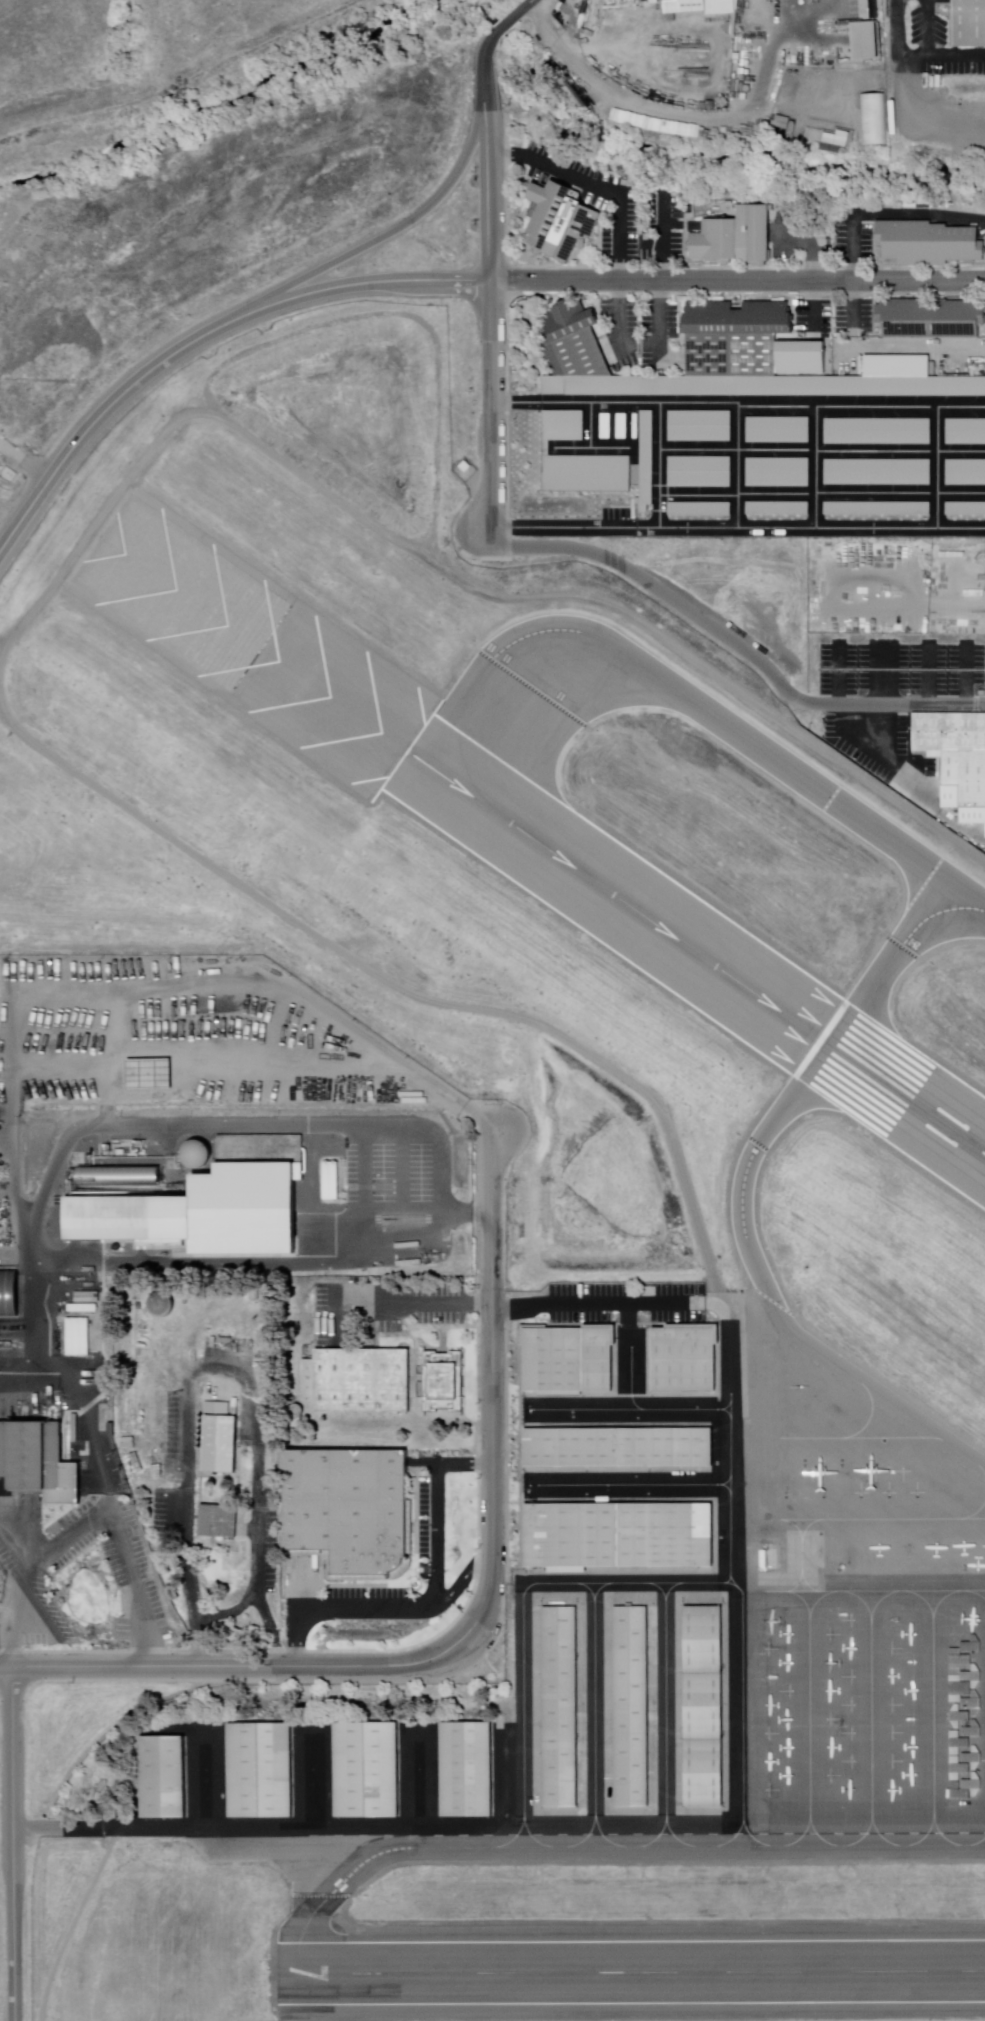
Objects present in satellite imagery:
road: (526, 1)
road: (499, 24)
building: (967, 24)
road: (899, 28)
building: (862, 44)
building: (874, 120)
building: (785, 124)
building: (827, 140)
road: (594, 183)
road: (886, 213)
building: (562, 215)
road: (661, 235)
building: (737, 235)
building: (930, 239)
road: (374, 241)
road: (738, 282)
road: (491, 298)
building: (929, 319)
building: (732, 337)
road: (202, 338)
building: (570, 340)
building: (757, 387)
building: (561, 426)
building: (602, 426)
building: (618, 426)
building: (700, 427)
building: (777, 430)
building: (878, 432)
building: (965, 432)
building: (646, 458)
building: (699, 472)
building: (877, 472)
building: (777, 473)
building: (966, 473)
building: (586, 474)
building: (697, 509)
building: (777, 509)
building: (877, 509)
building: (965, 509)
road: (453, 576)
road: (734, 644)
parking lot: (902, 664)
airport taxiway: (664, 683)
building: (955, 751)
airport runway: (695, 951)
airport taxiway: (882, 969)
road: (401, 989)
power plant: (201, 1214)
building: (128, 1218)
airport: (544, 1237)
airport taxiway: (757, 1276)
road: (710, 1299)
road: (599, 1300)
parking lot: (614, 1302)
building: (155, 1305)
parking lot: (422, 1306)
road: (624, 1314)
airport hangar: (568, 1358)
building: (568, 1358)
airport hangar: (681, 1359)
building: (681, 1359)
airport taxiway: (627, 1378)
building: (363, 1379)
building: (448, 1381)
airport taxiway: (630, 1410)
airport taxiway: (727, 1442)
building: (224, 1443)
airport hangar: (619, 1448)
building: (619, 1448)
airport apron: (616, 1449)
building: (41, 1460)
airport taxiway: (632, 1486)
building: (354, 1511)
building: (221, 1521)
parking lot: (427, 1527)
airport hangar: (619, 1536)
building: (619, 1536)
gas station: (765, 1557)
road: (468, 1571)
airport taxiway: (628, 1584)
airport taxiway: (595, 1590)
airport taxiway: (665, 1592)
road: (438, 1600)
airport apron: (843, 1603)
road: (482, 1620)
airport apron: (621, 1704)
airport hangar: (698, 1706)
building: (698, 1706)
airport hangar: (560, 1707)
building: (560, 1707)
airport hangar: (631, 1707)
building: (631, 1707)
airport taxiway: (662, 1718)
airport taxiway: (592, 1719)
airport hangar: (960, 1721)
building: (960, 1721)
airport hangar: (464, 1769)
building: (464, 1769)
airport hangar: (260, 1771)
building: (260, 1771)
airport hangar: (363, 1772)
building: (363, 1772)
airport hangar: (164, 1777)
building: (164, 1777)
airport apron: (328, 1778)
road: (212, 1826)
airport taxiway: (670, 1836)
airport taxiway: (749, 1837)
airport taxiway: (602, 1839)
airport taxiway: (529, 1840)
road: (13, 1843)
airport taxiway: (605, 1848)
road: (69, 1921)
airport runway: (627, 1969)

